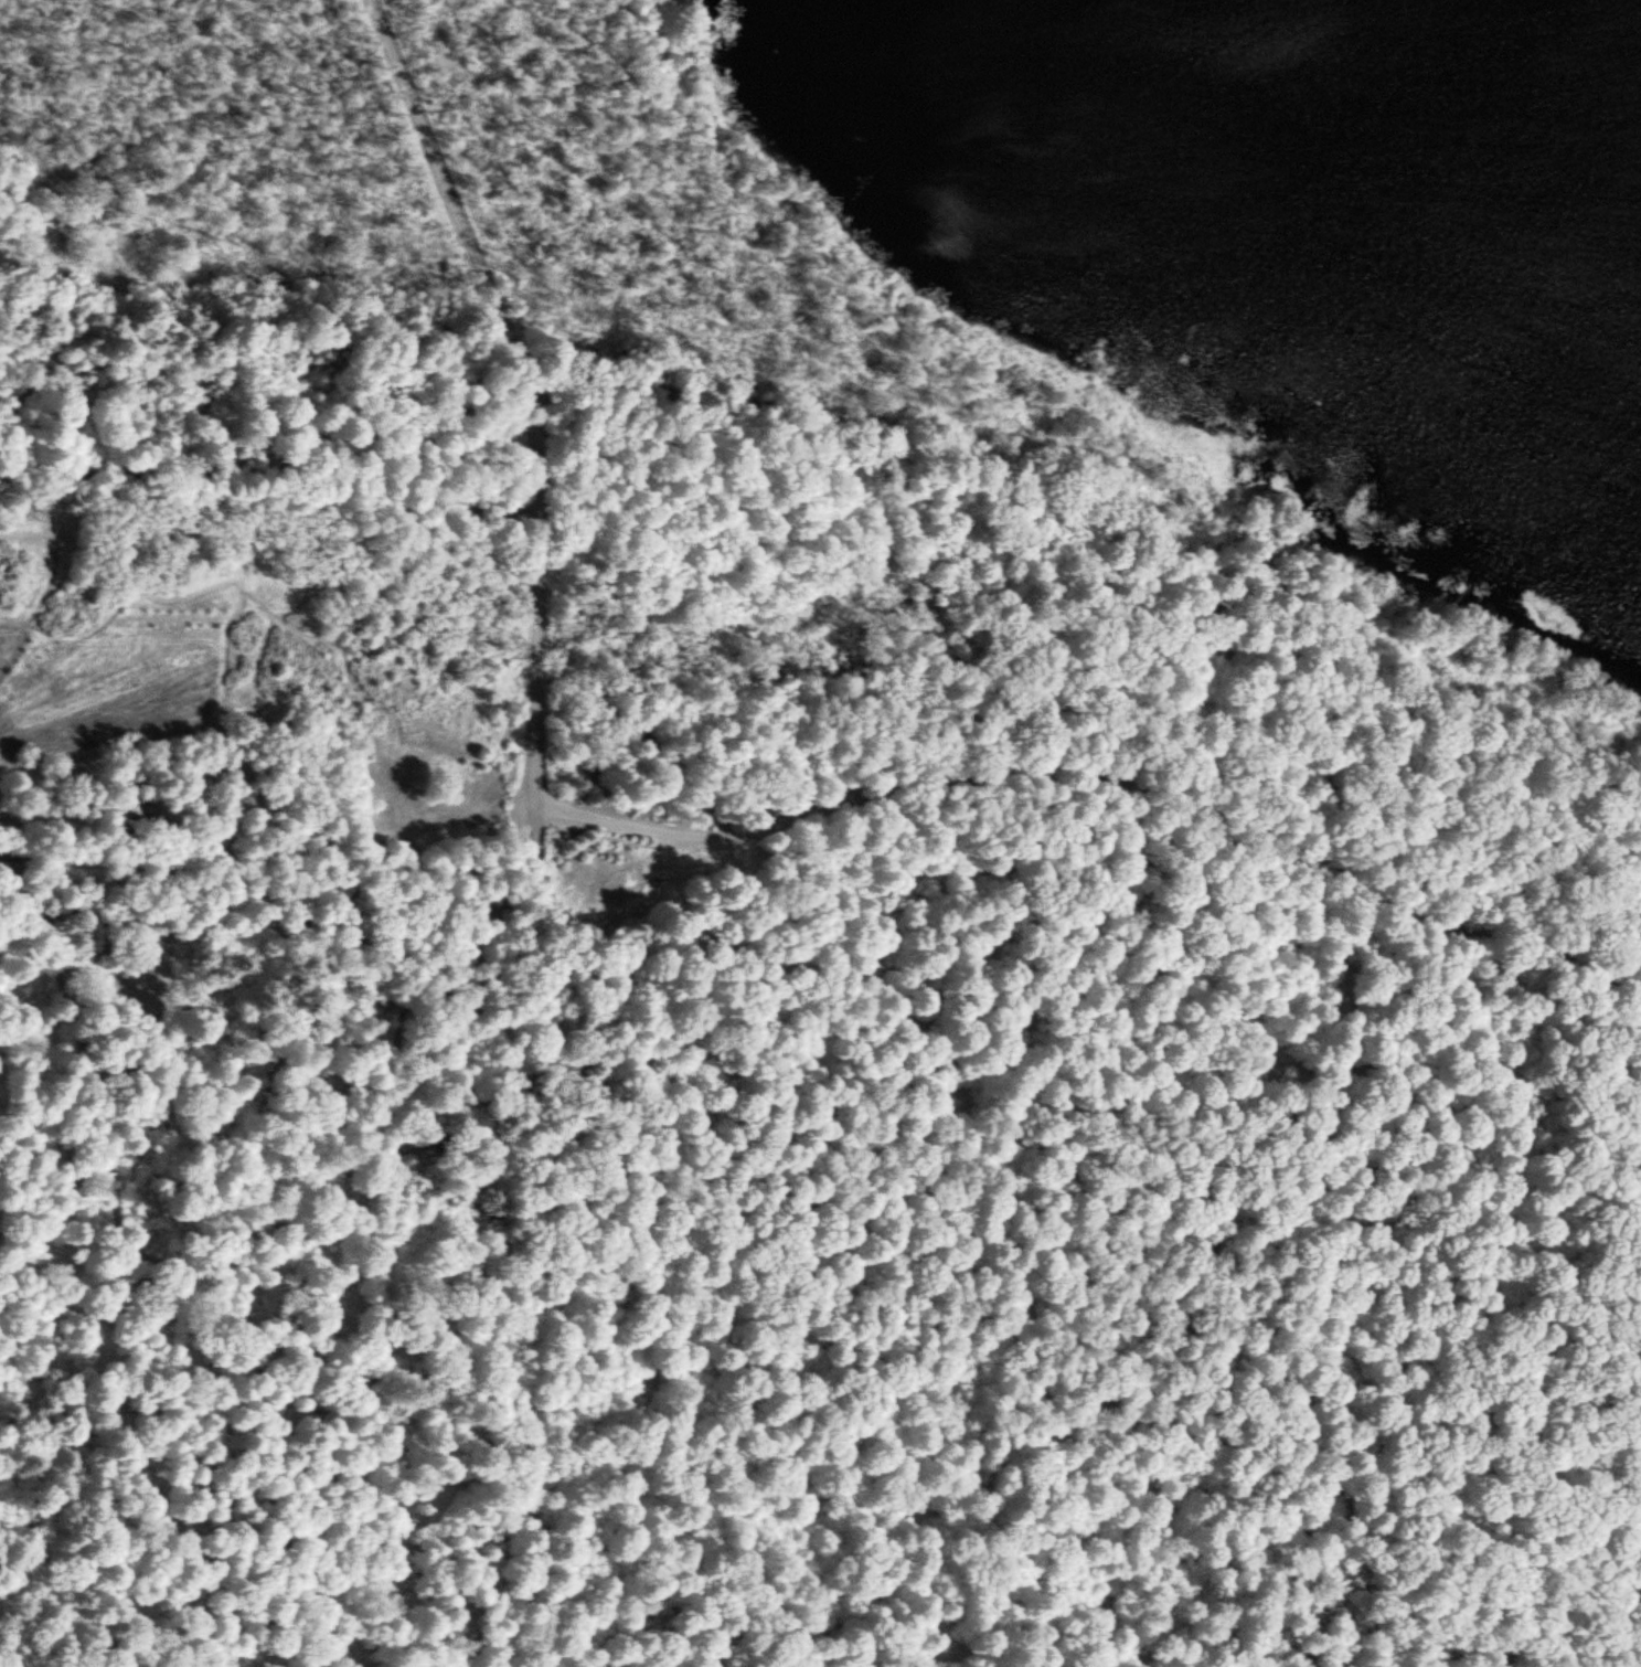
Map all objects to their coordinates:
road: (533, 404)
road: (273, 475)
road: (1112, 777)
road: (456, 811)
parking lot: (396, 818)
building: (1640, 836)
road: (1633, 997)
road: (318, 1161)
road: (530, 1255)
road: (198, 1473)

